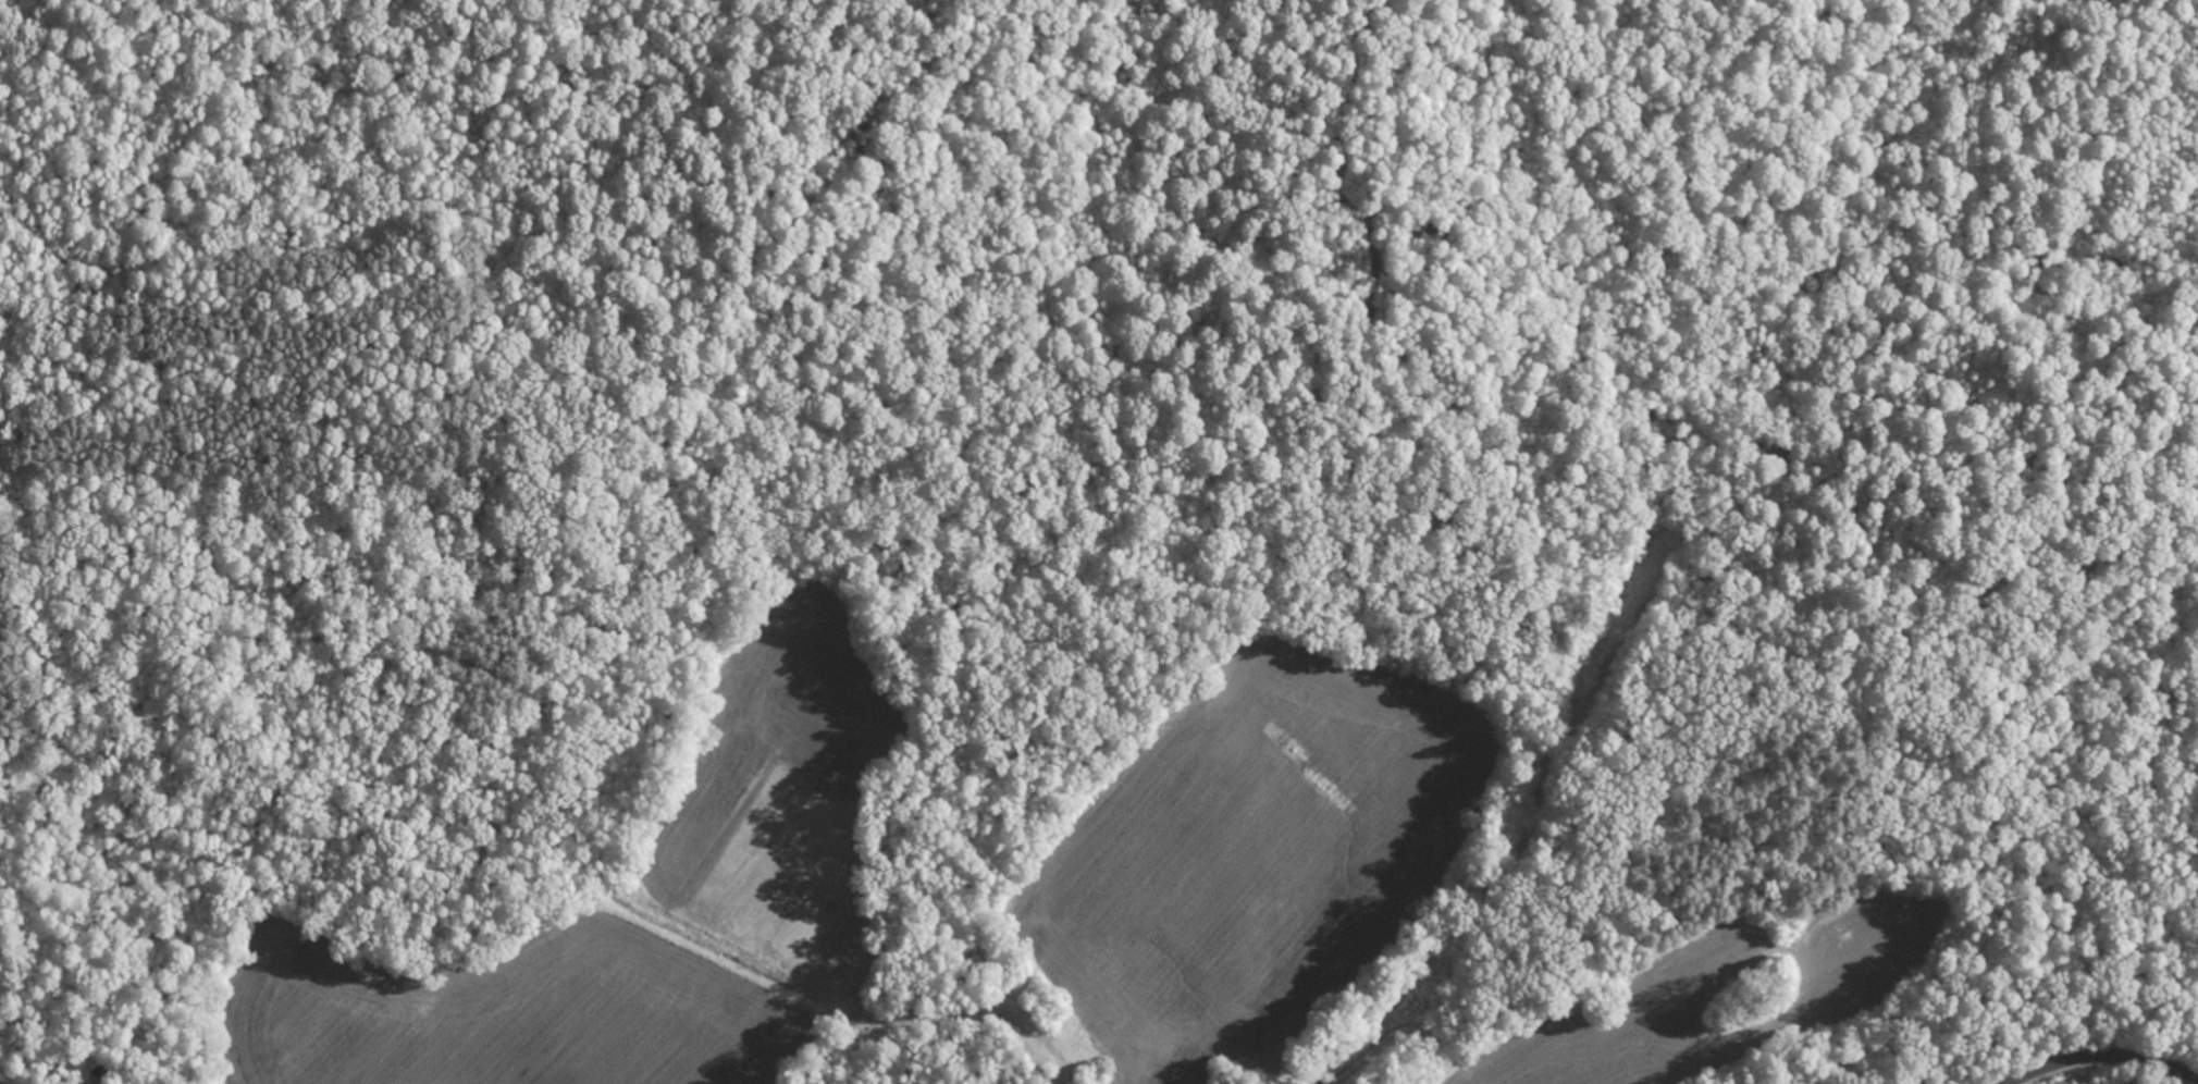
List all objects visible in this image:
road: (2104, 1058)

